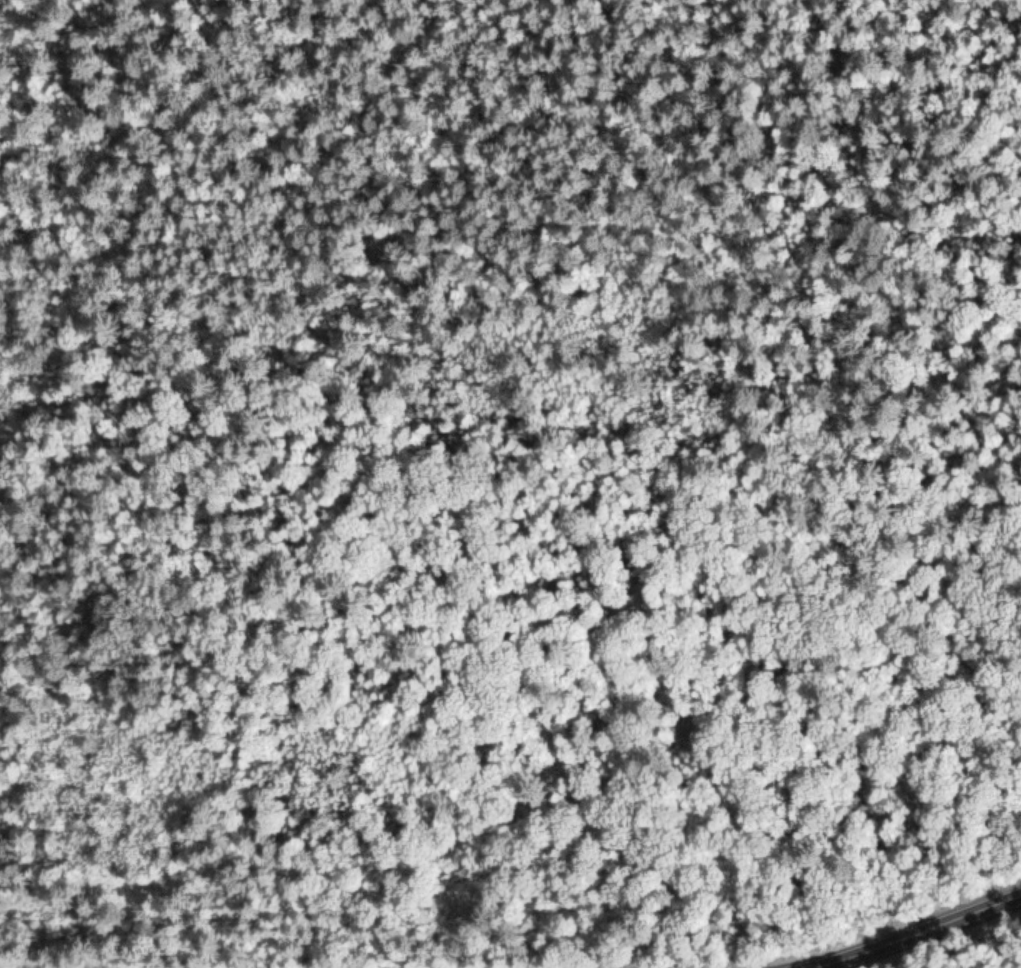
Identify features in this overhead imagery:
road: (885, 929)

